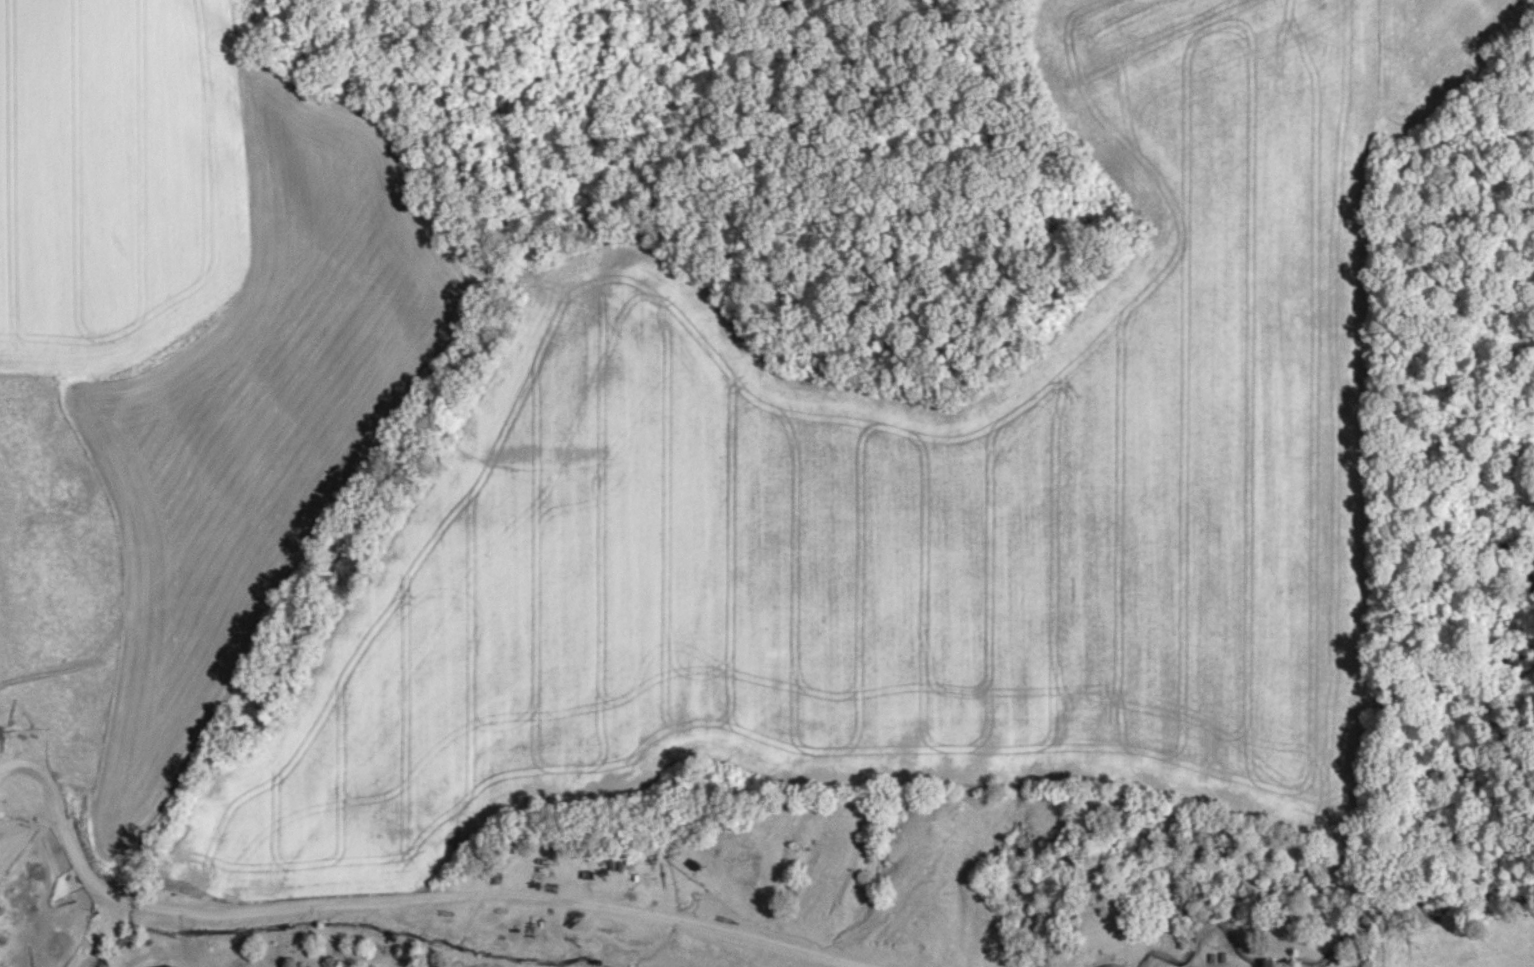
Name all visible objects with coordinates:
road: (399, 898)
building: (1211, 955)
building: (1222, 955)
building: (173, 966)

